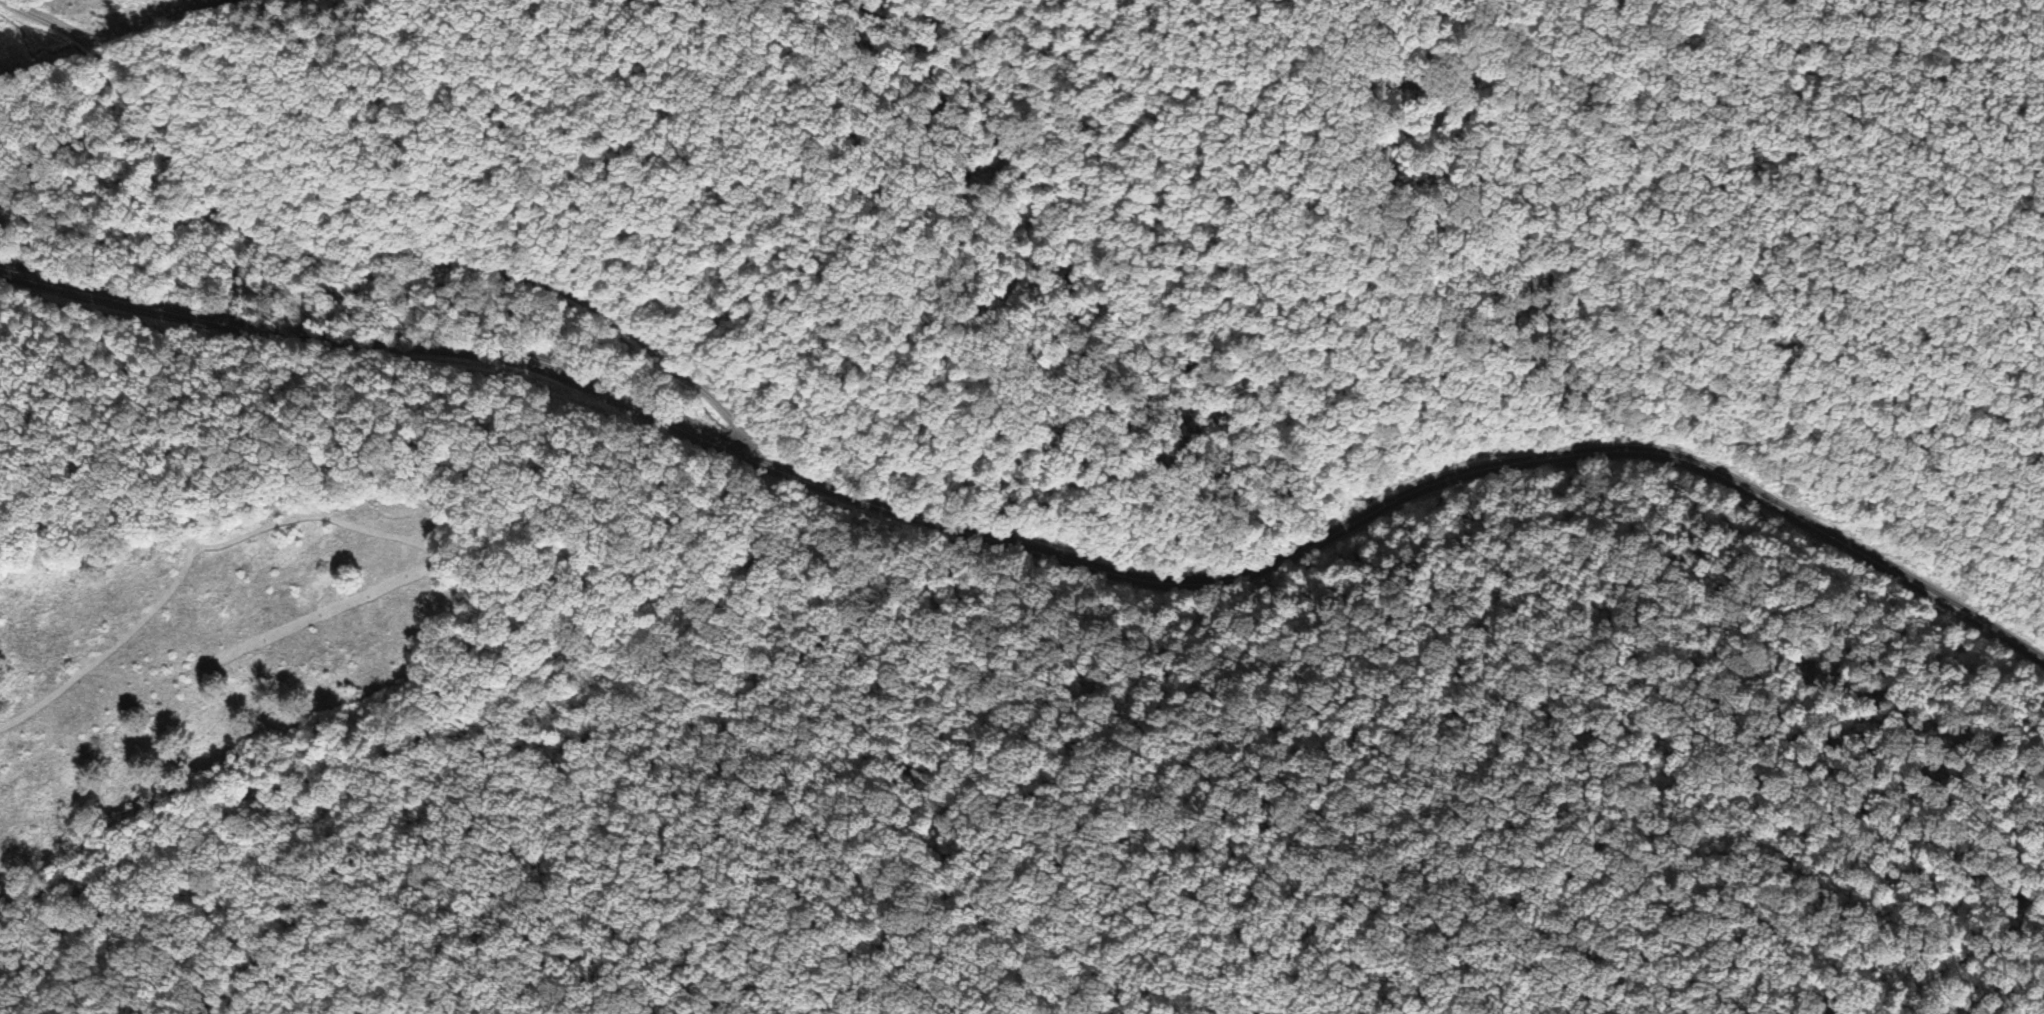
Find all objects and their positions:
road: (368, 256)
road: (1041, 551)

